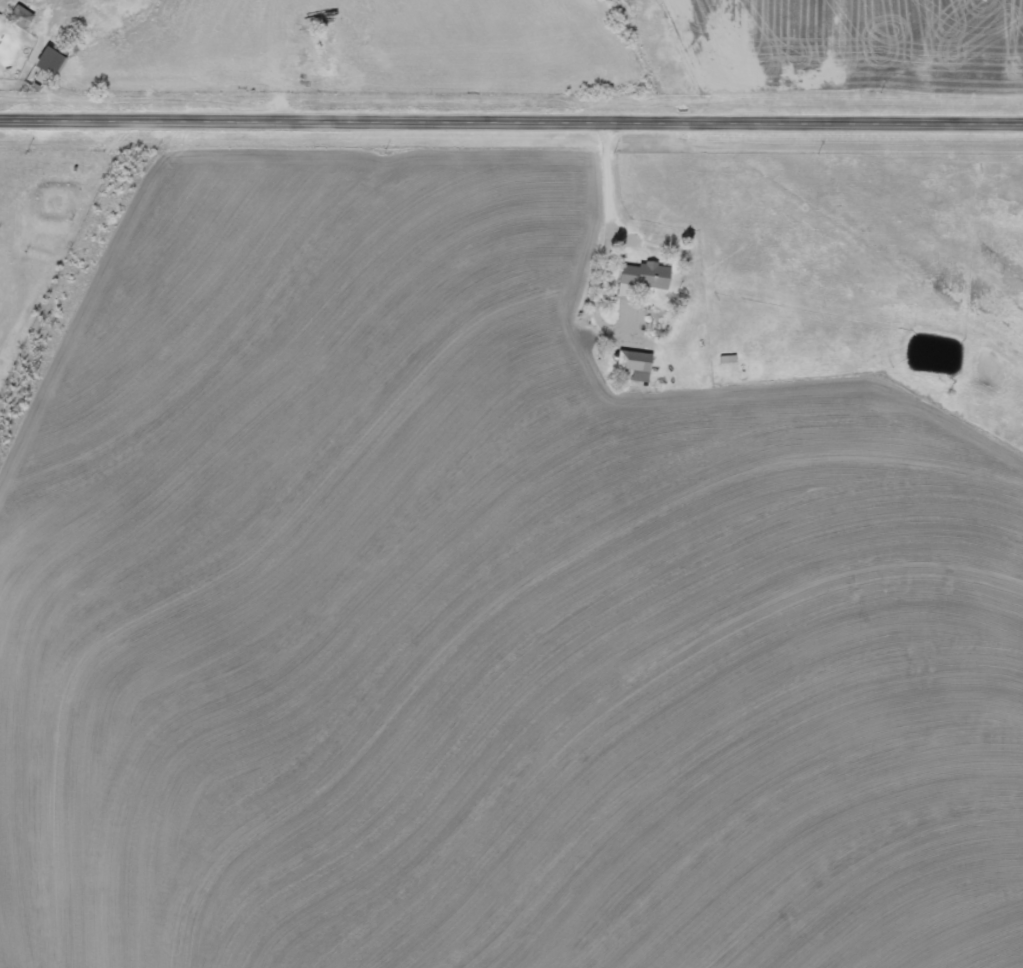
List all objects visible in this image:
building: (52, 61)
road: (512, 123)
building: (647, 274)
building: (638, 363)

